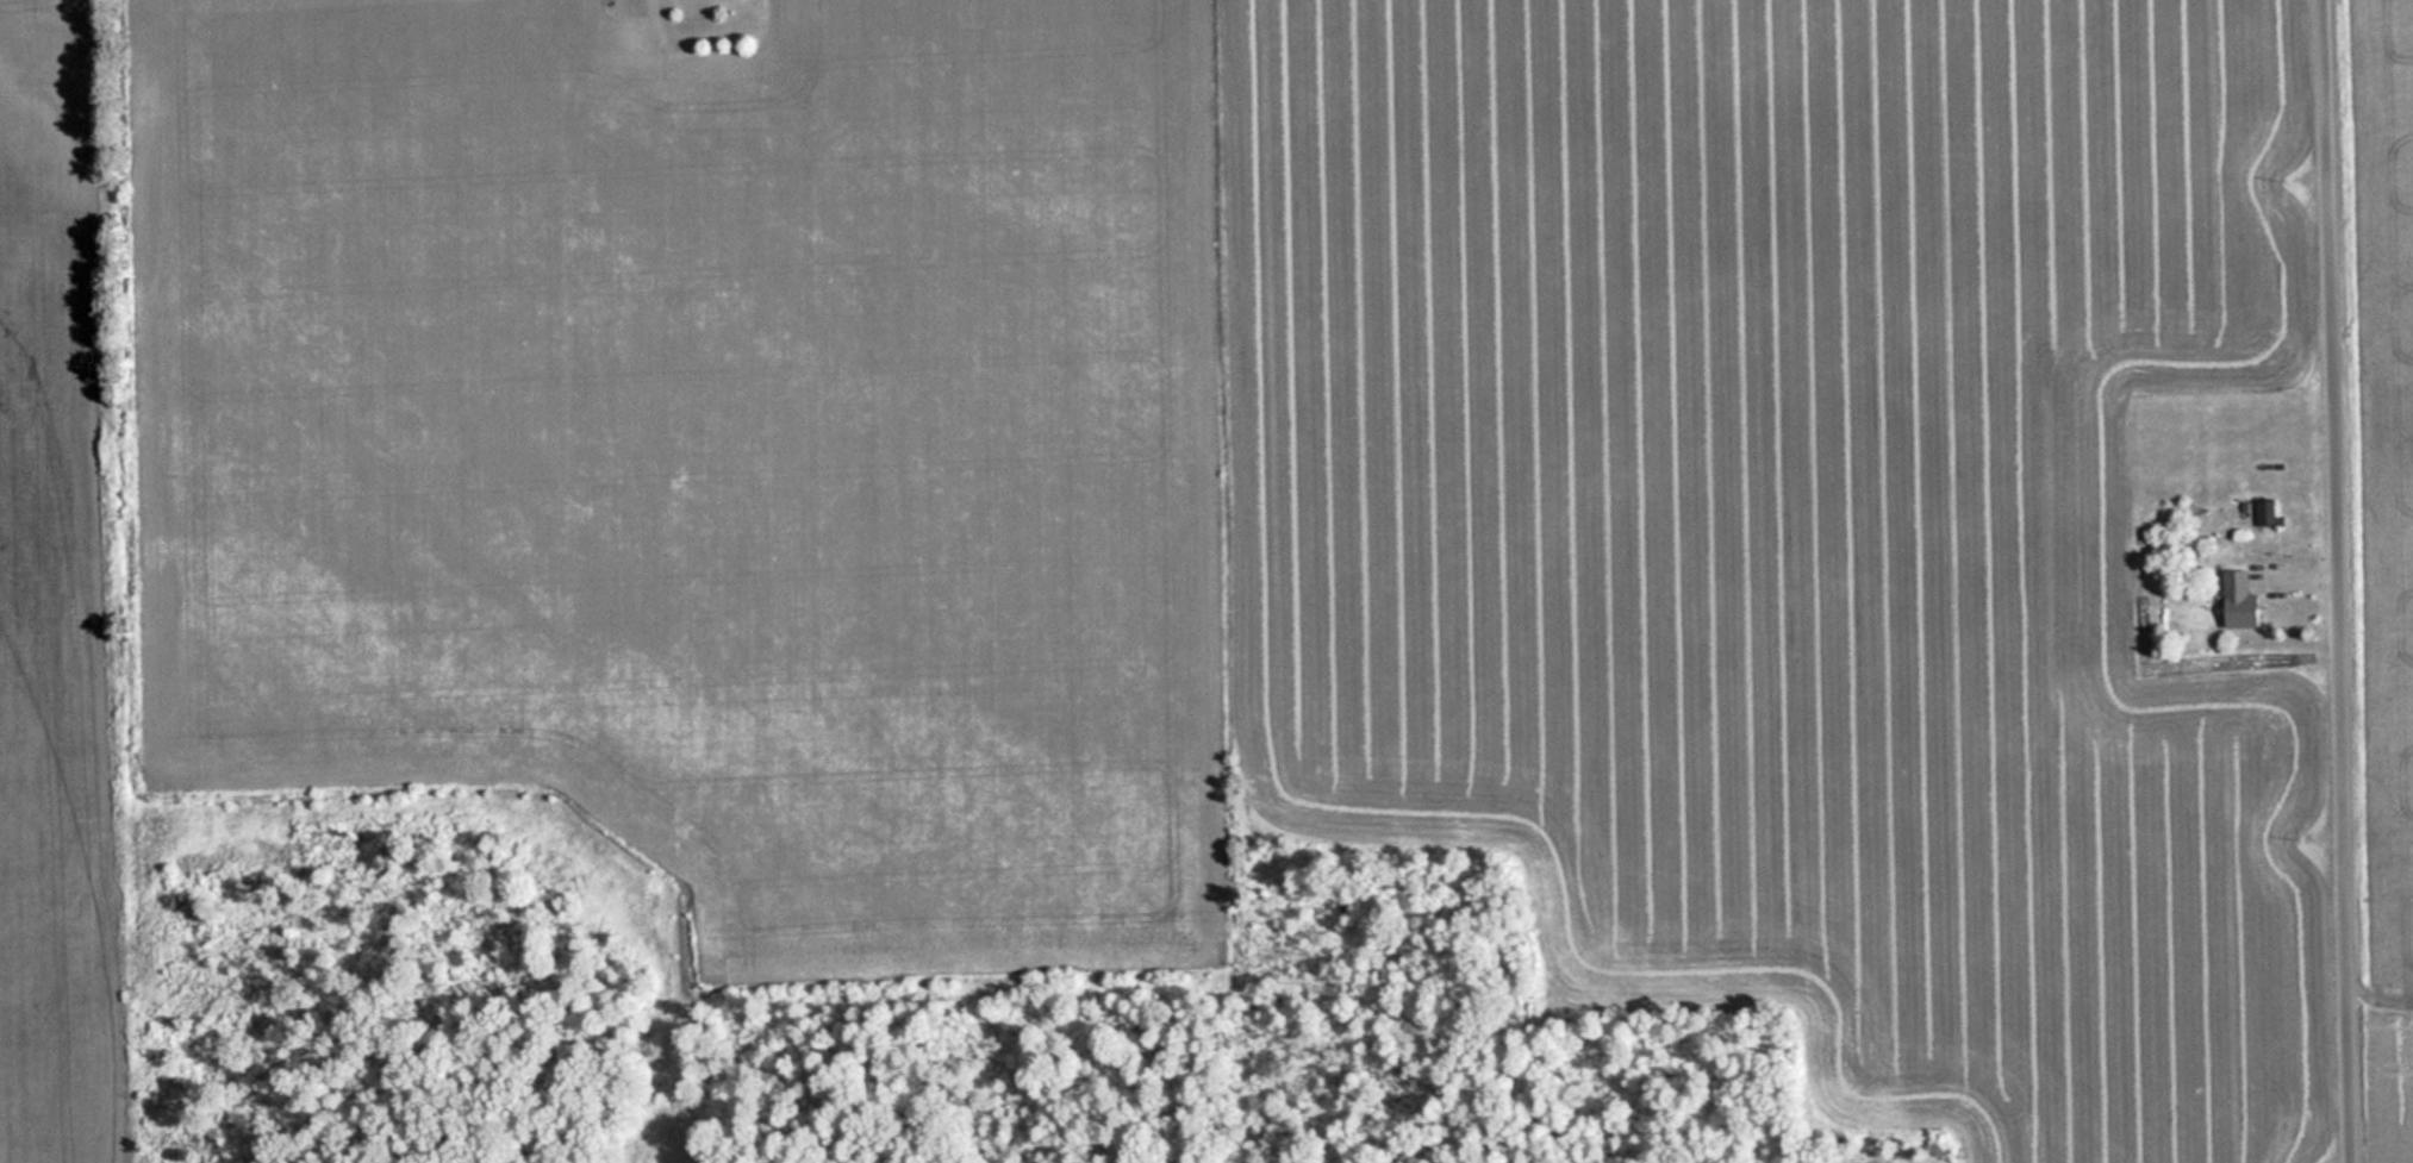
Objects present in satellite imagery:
building: (2262, 512)
road: (2339, 581)
building: (2236, 600)

